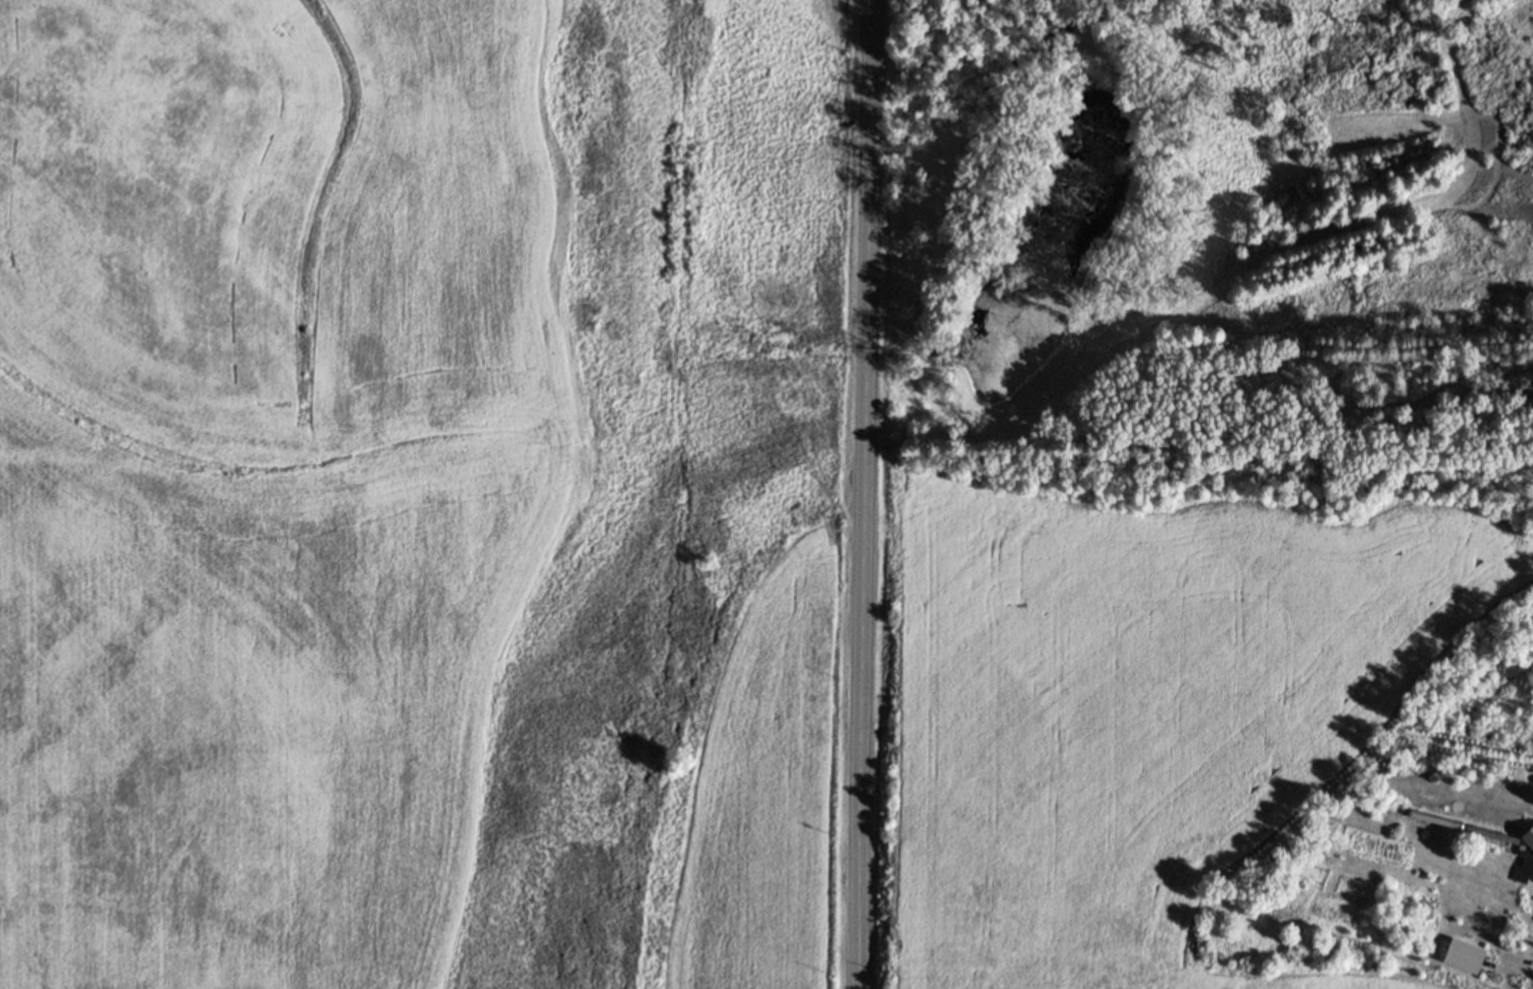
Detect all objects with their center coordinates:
road: (861, 494)
building: (1527, 856)
building: (1427, 910)
building: (1463, 956)

